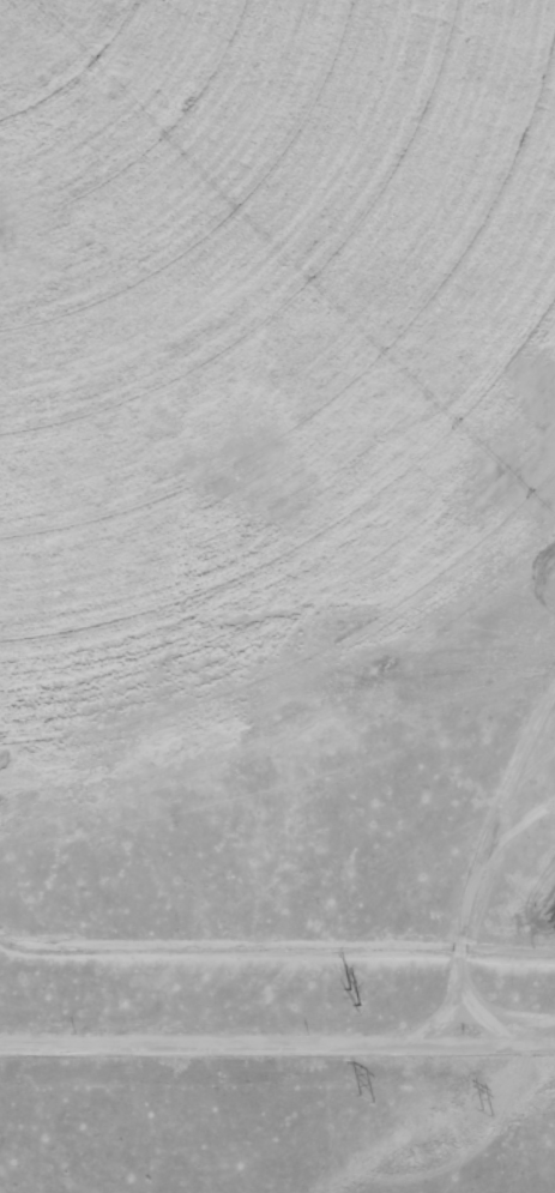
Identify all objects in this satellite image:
power tower: (352, 993)
power tower: (366, 1096)
power tower: (484, 1116)

